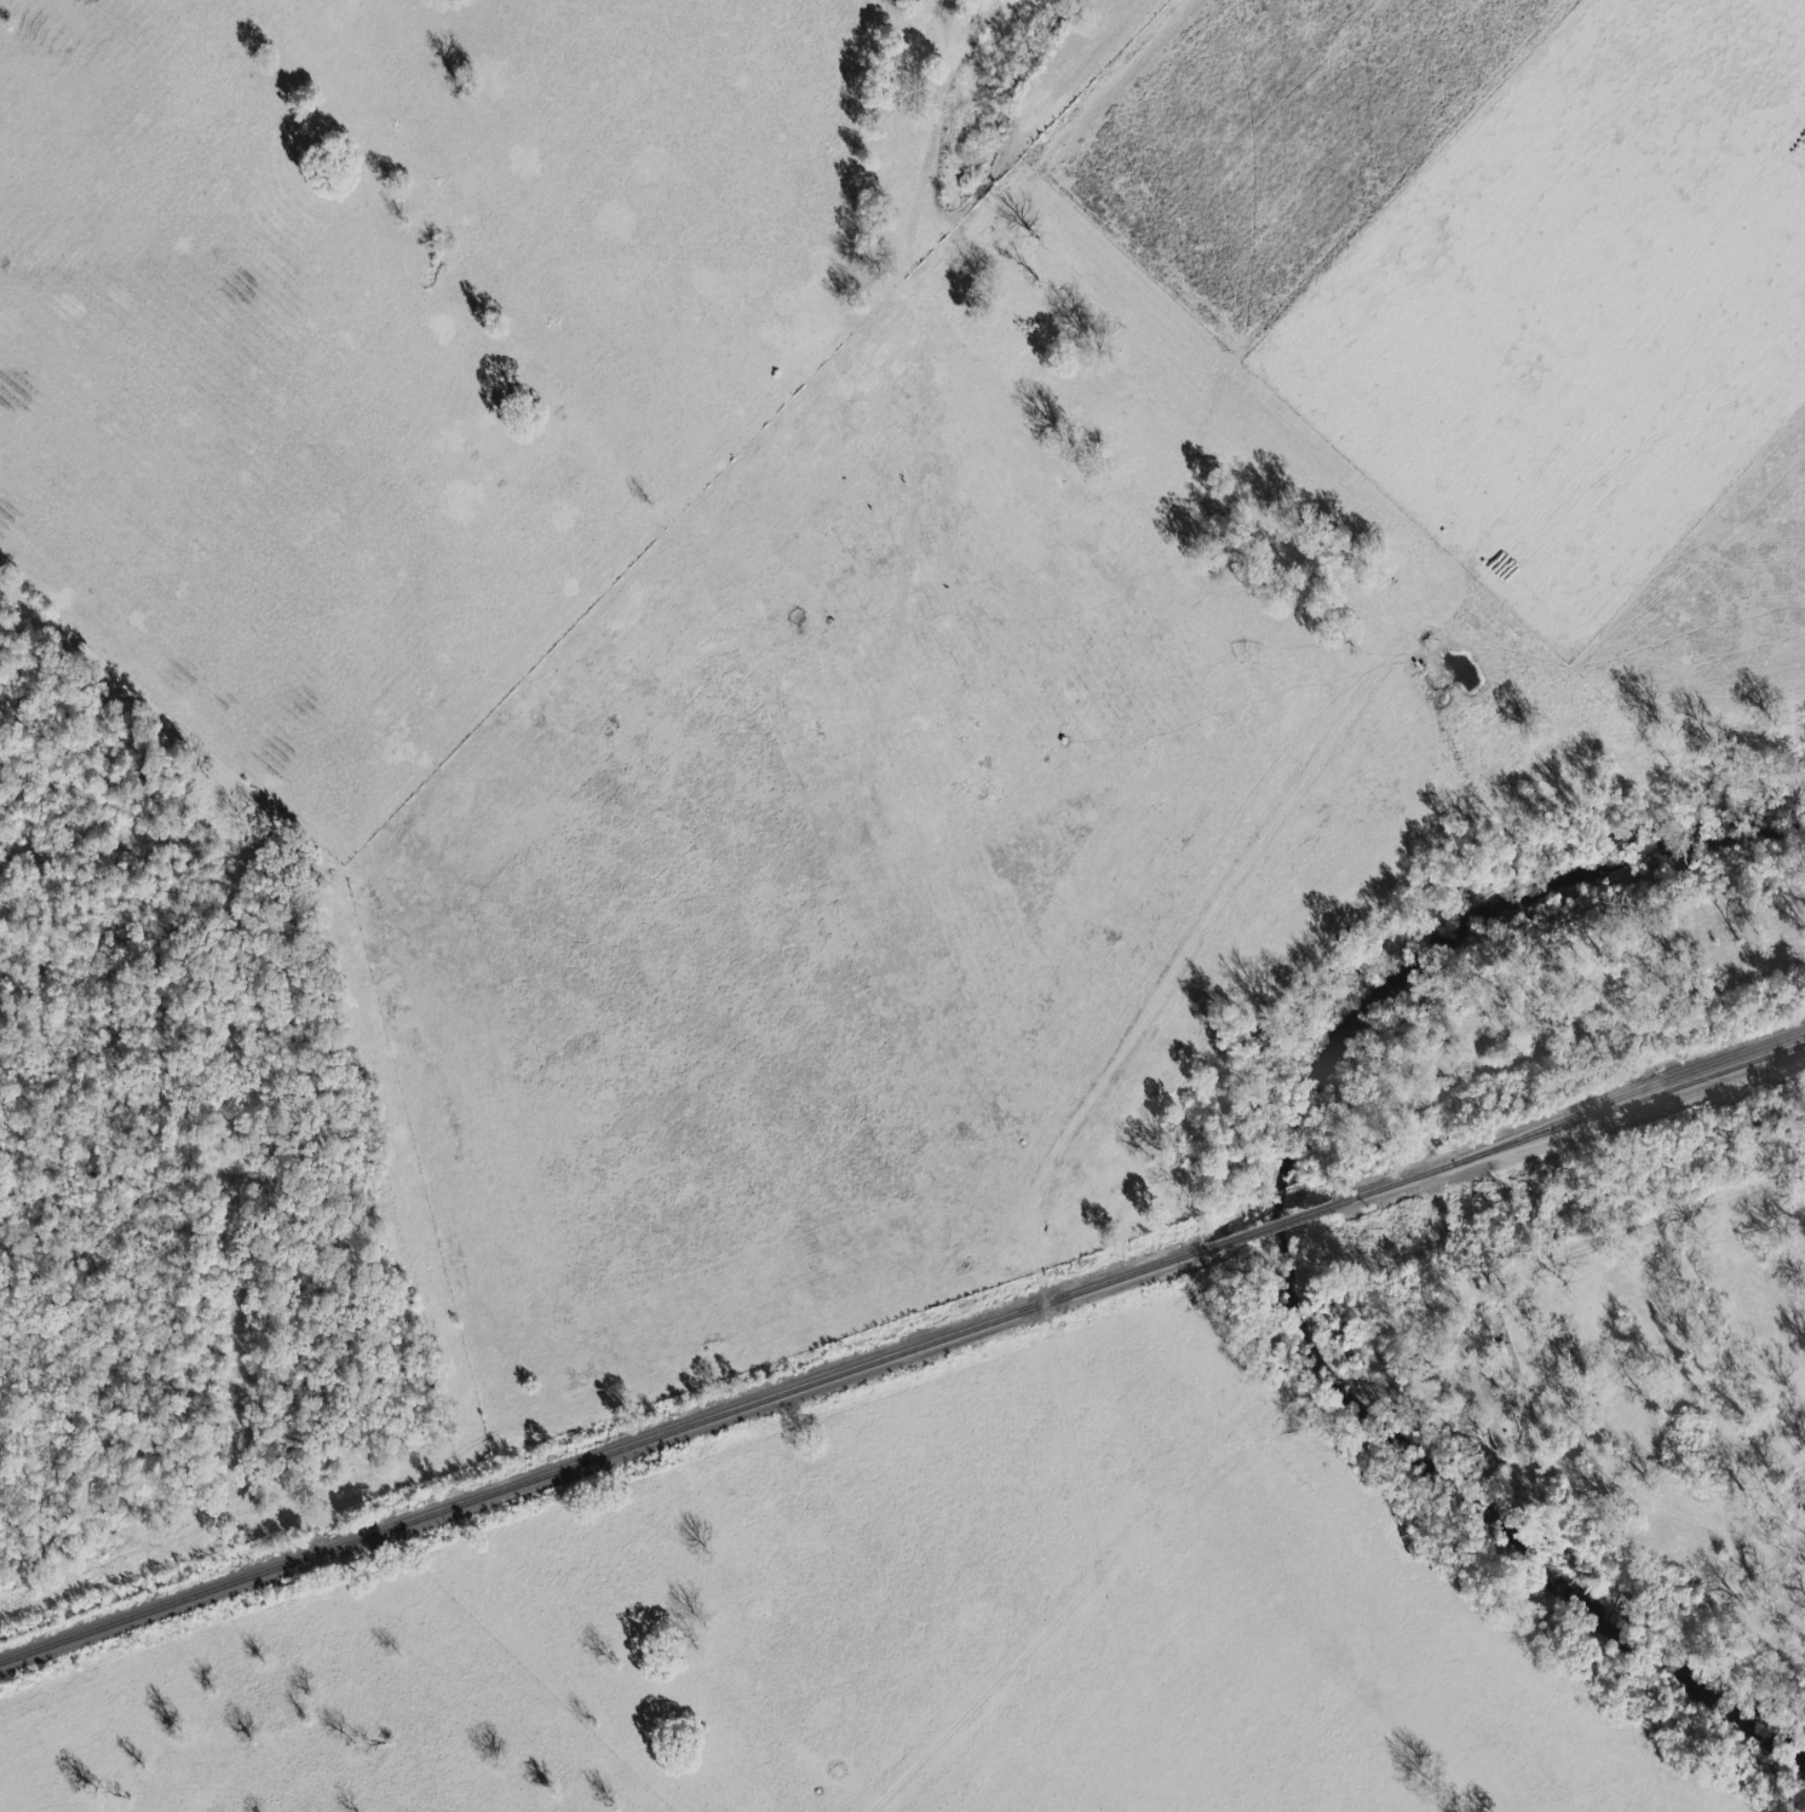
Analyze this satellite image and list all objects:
railway: (1625, 1097)
railway: (902, 1352)
road: (1099, 1589)

